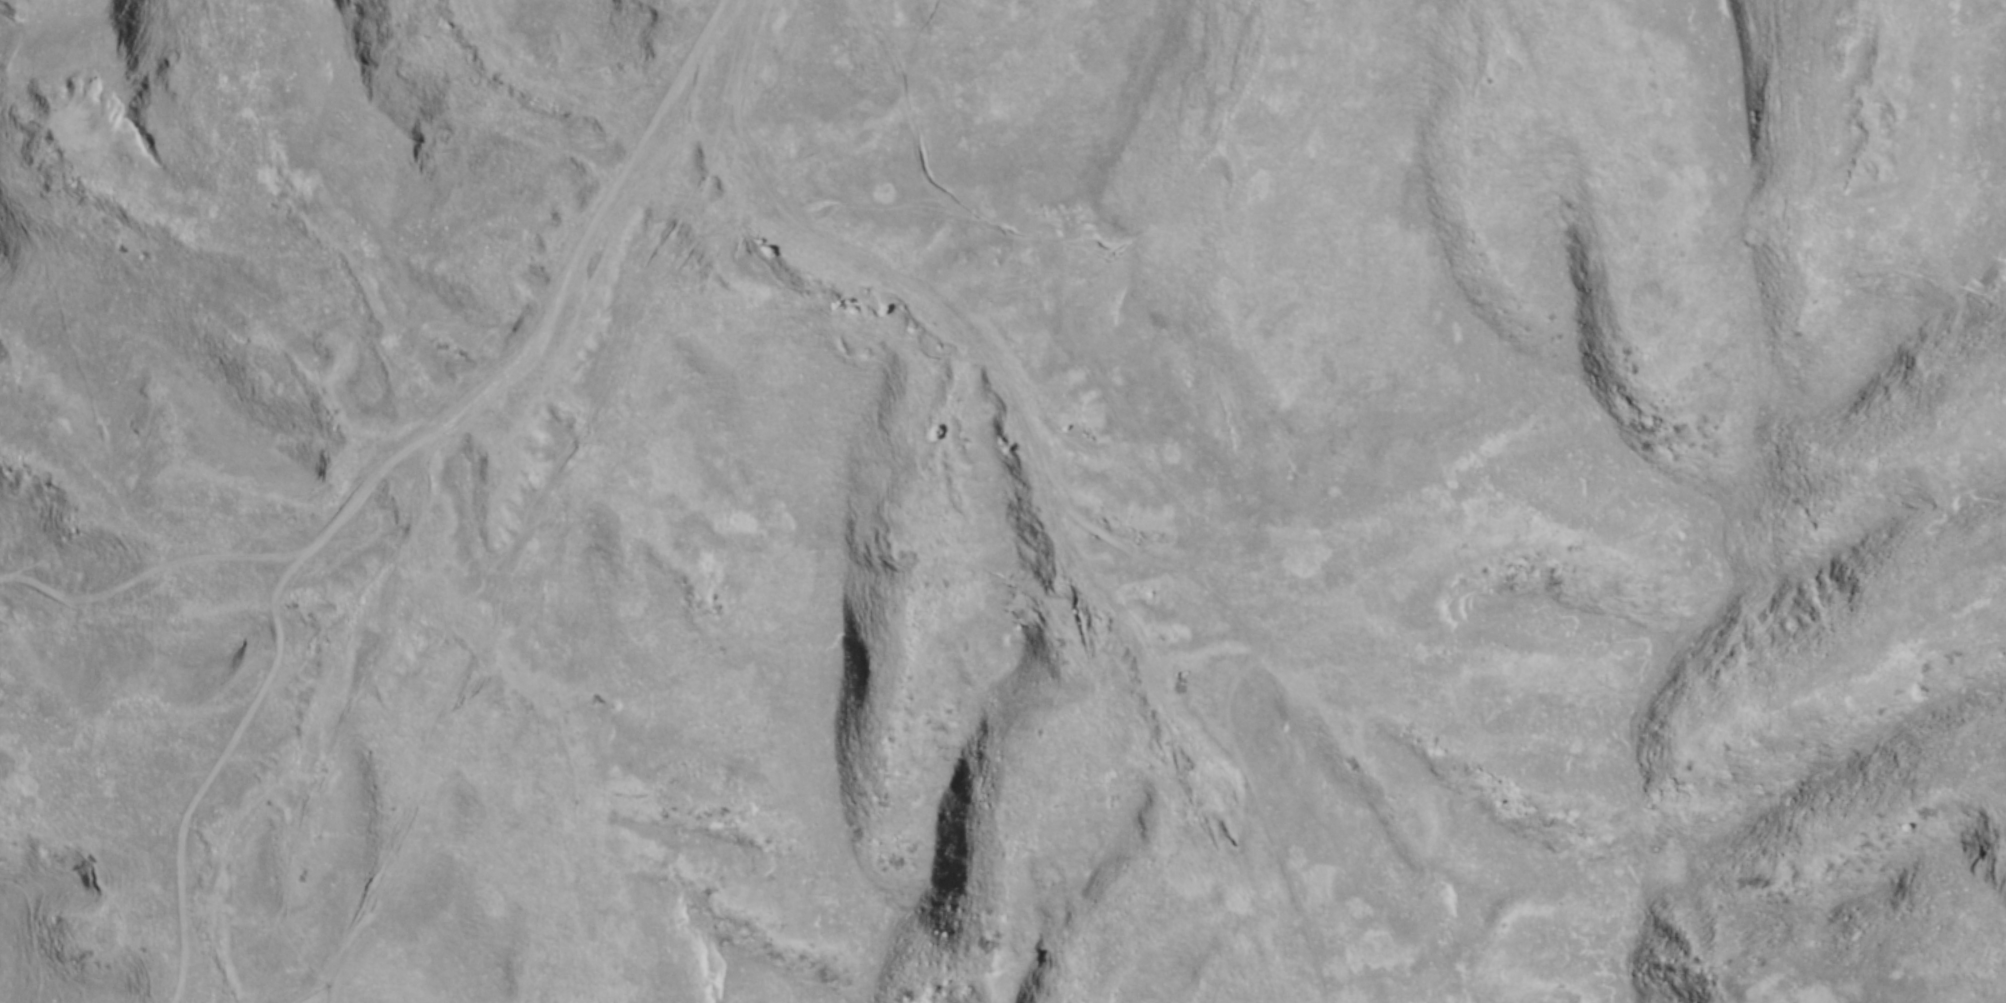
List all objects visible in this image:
road: (550, 306)

